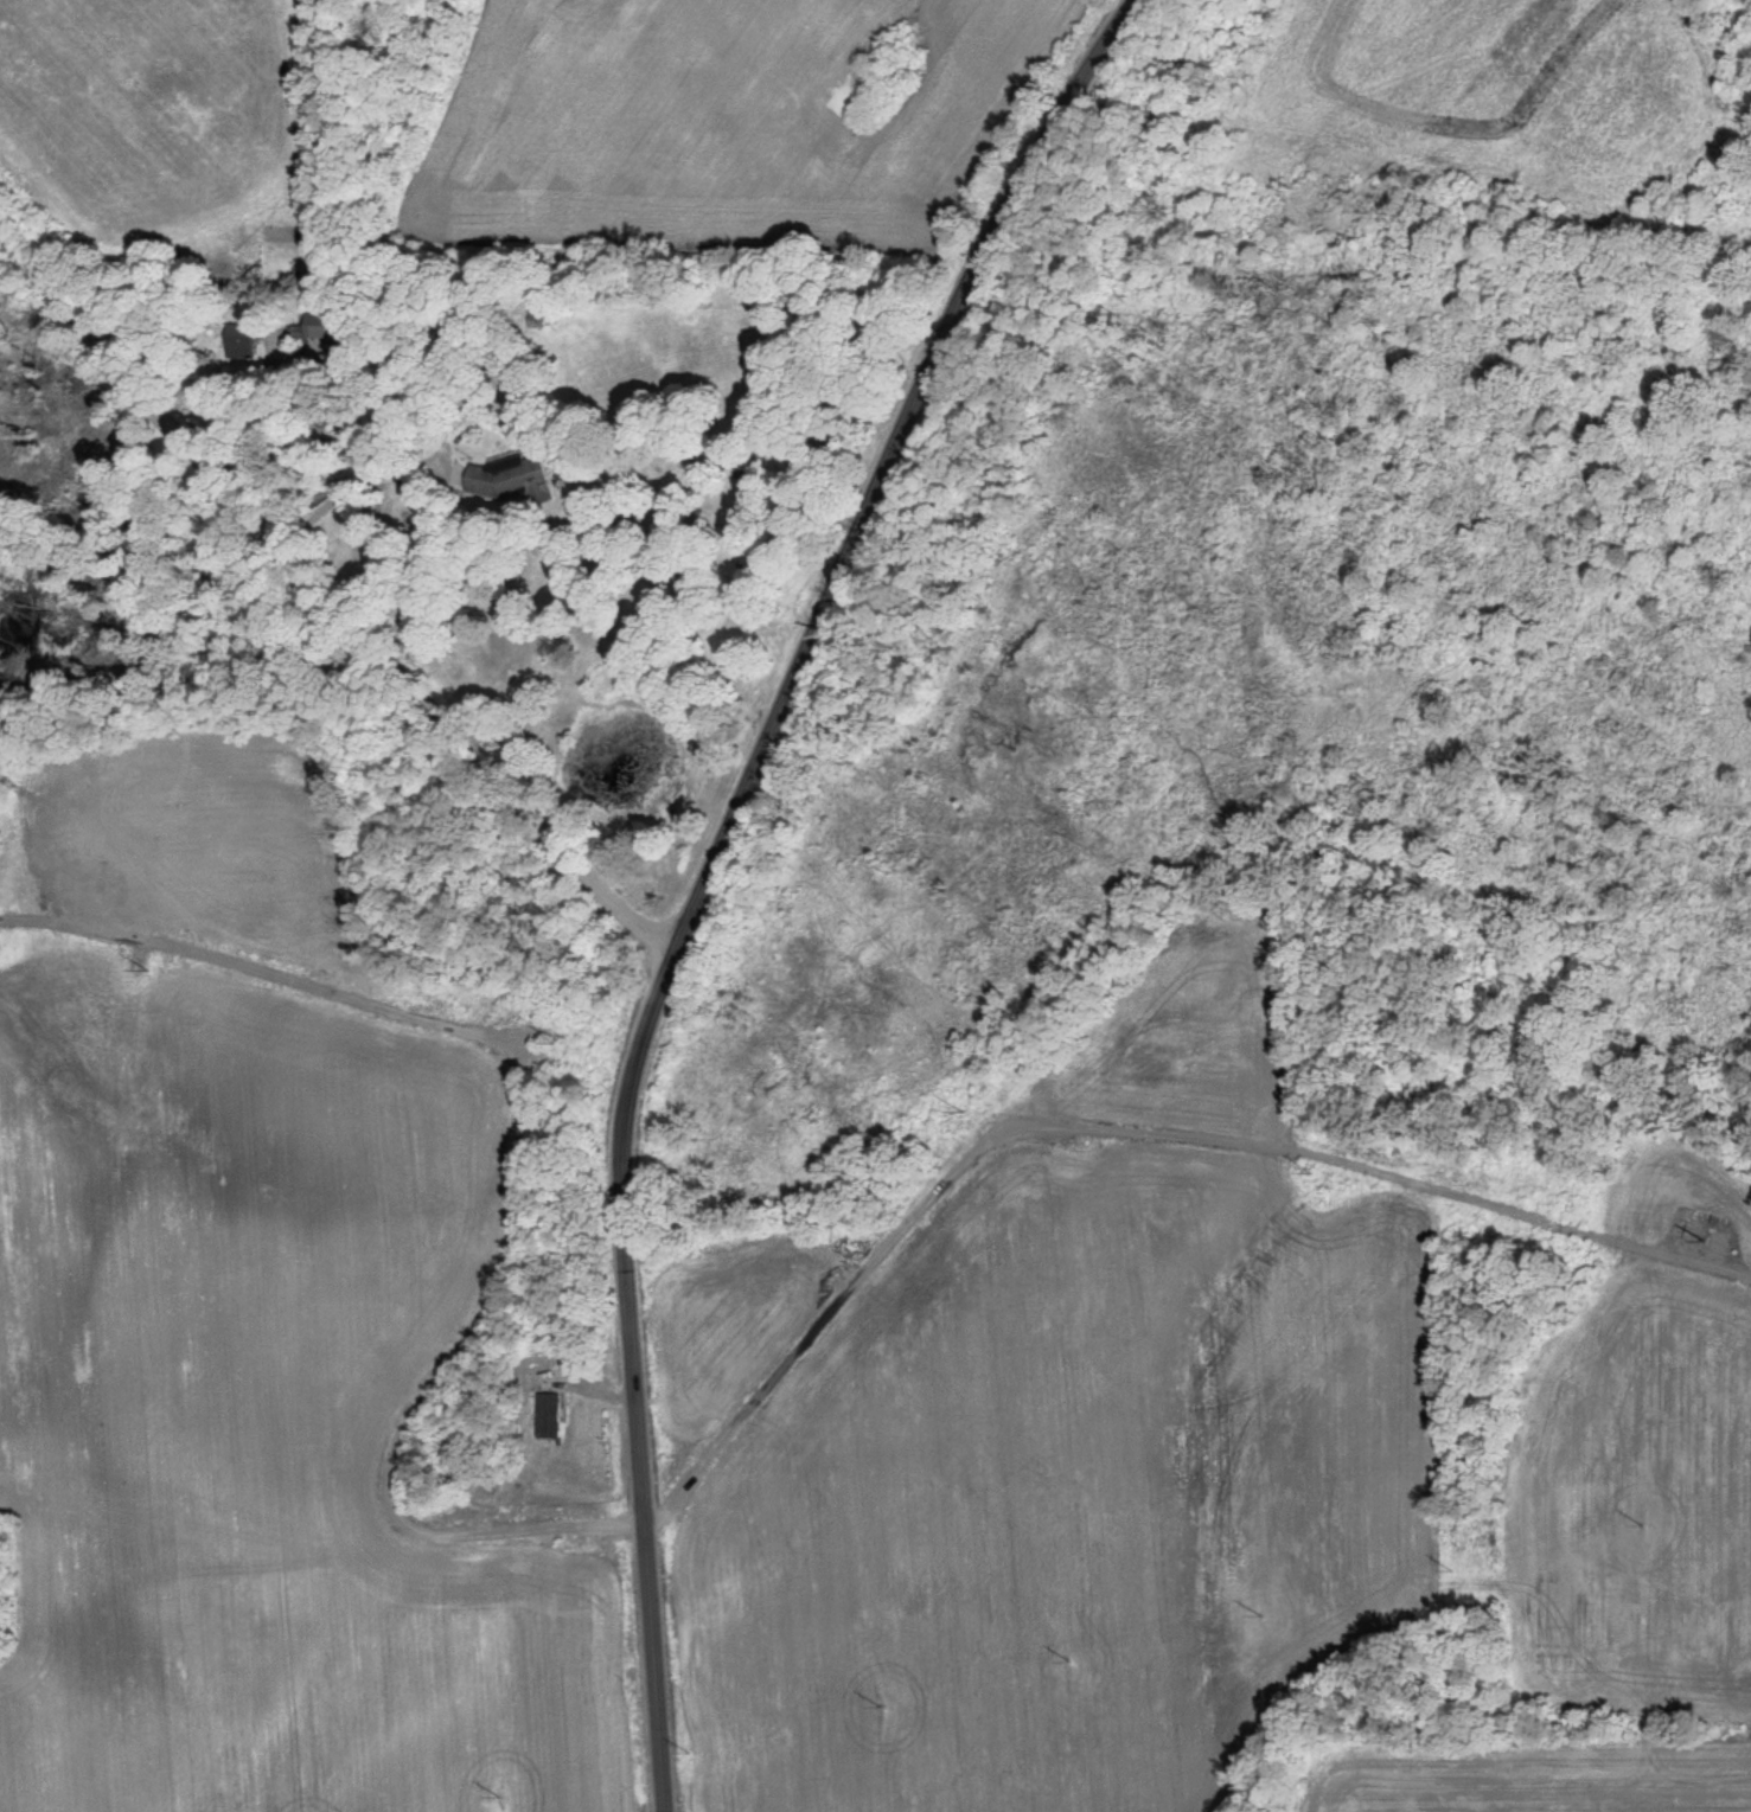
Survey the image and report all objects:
building: (324, 324)
building: (245, 340)
road: (181, 398)
road: (360, 475)
building: (516, 476)
road: (516, 764)
road: (710, 865)
building: (548, 1414)

